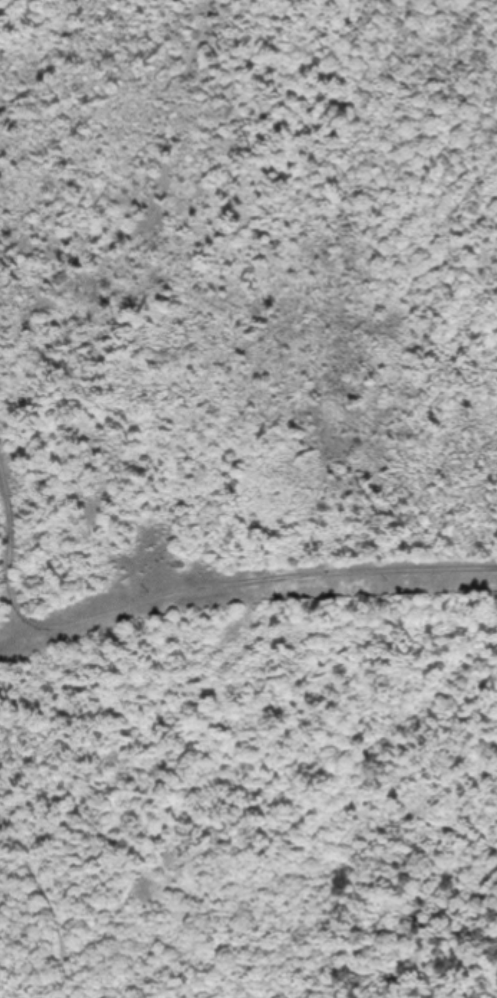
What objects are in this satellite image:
road: (244, 596)

